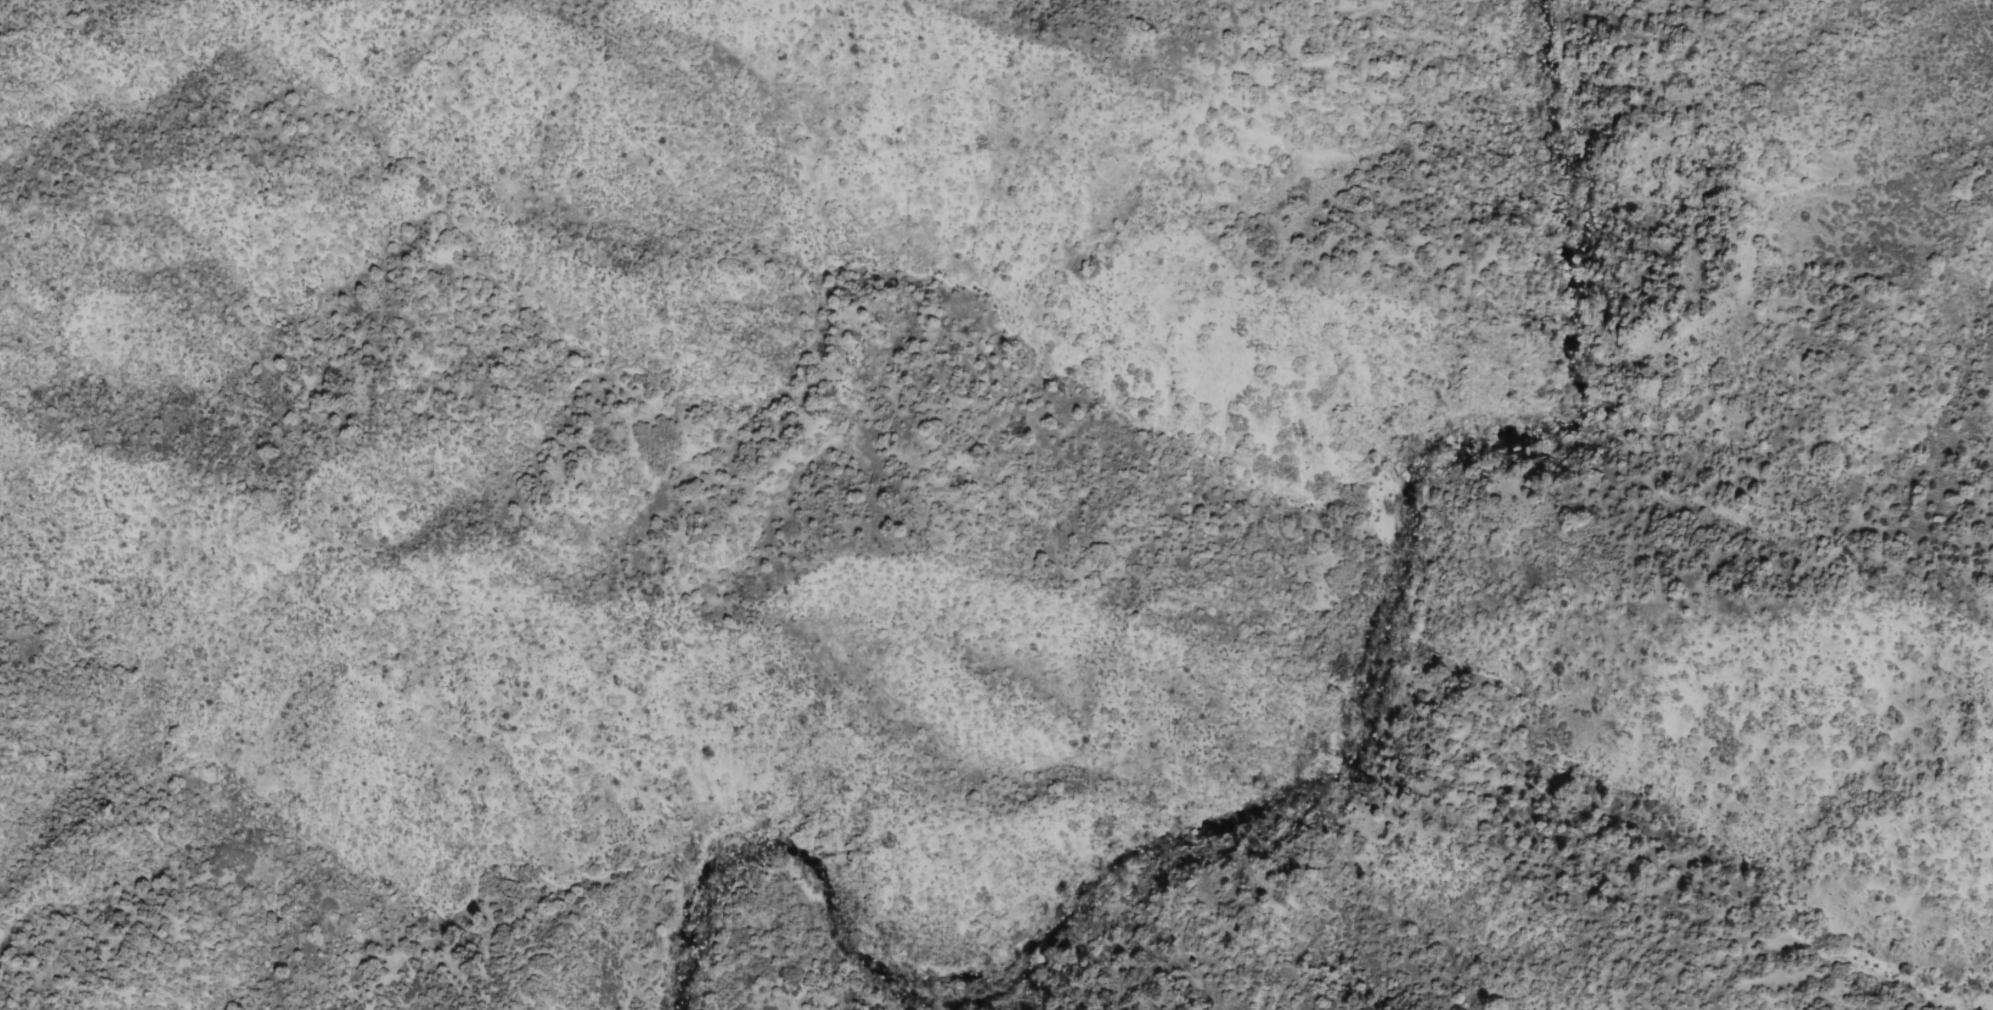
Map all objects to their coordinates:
road: (1987, 12)

